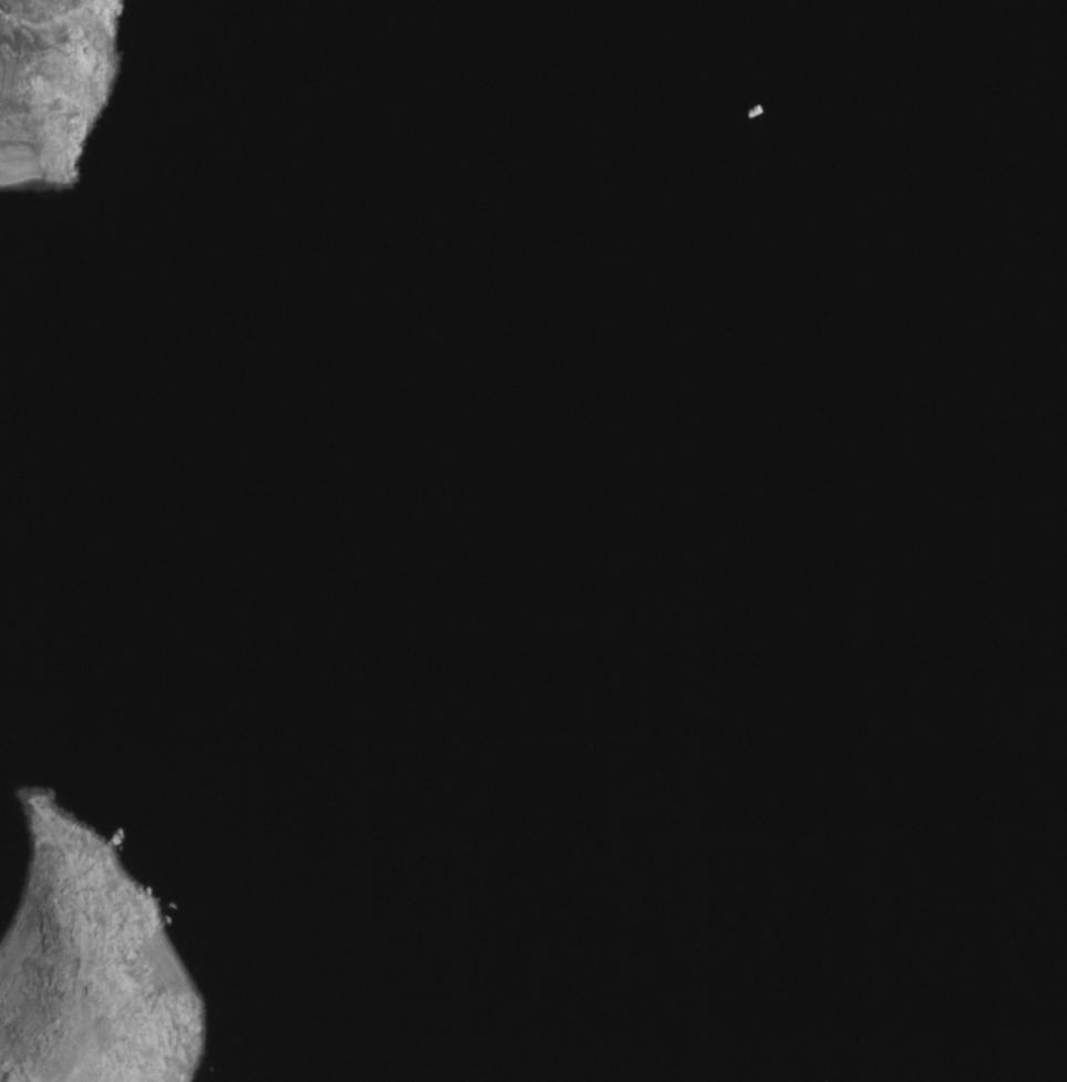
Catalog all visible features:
park: (533, 540)

